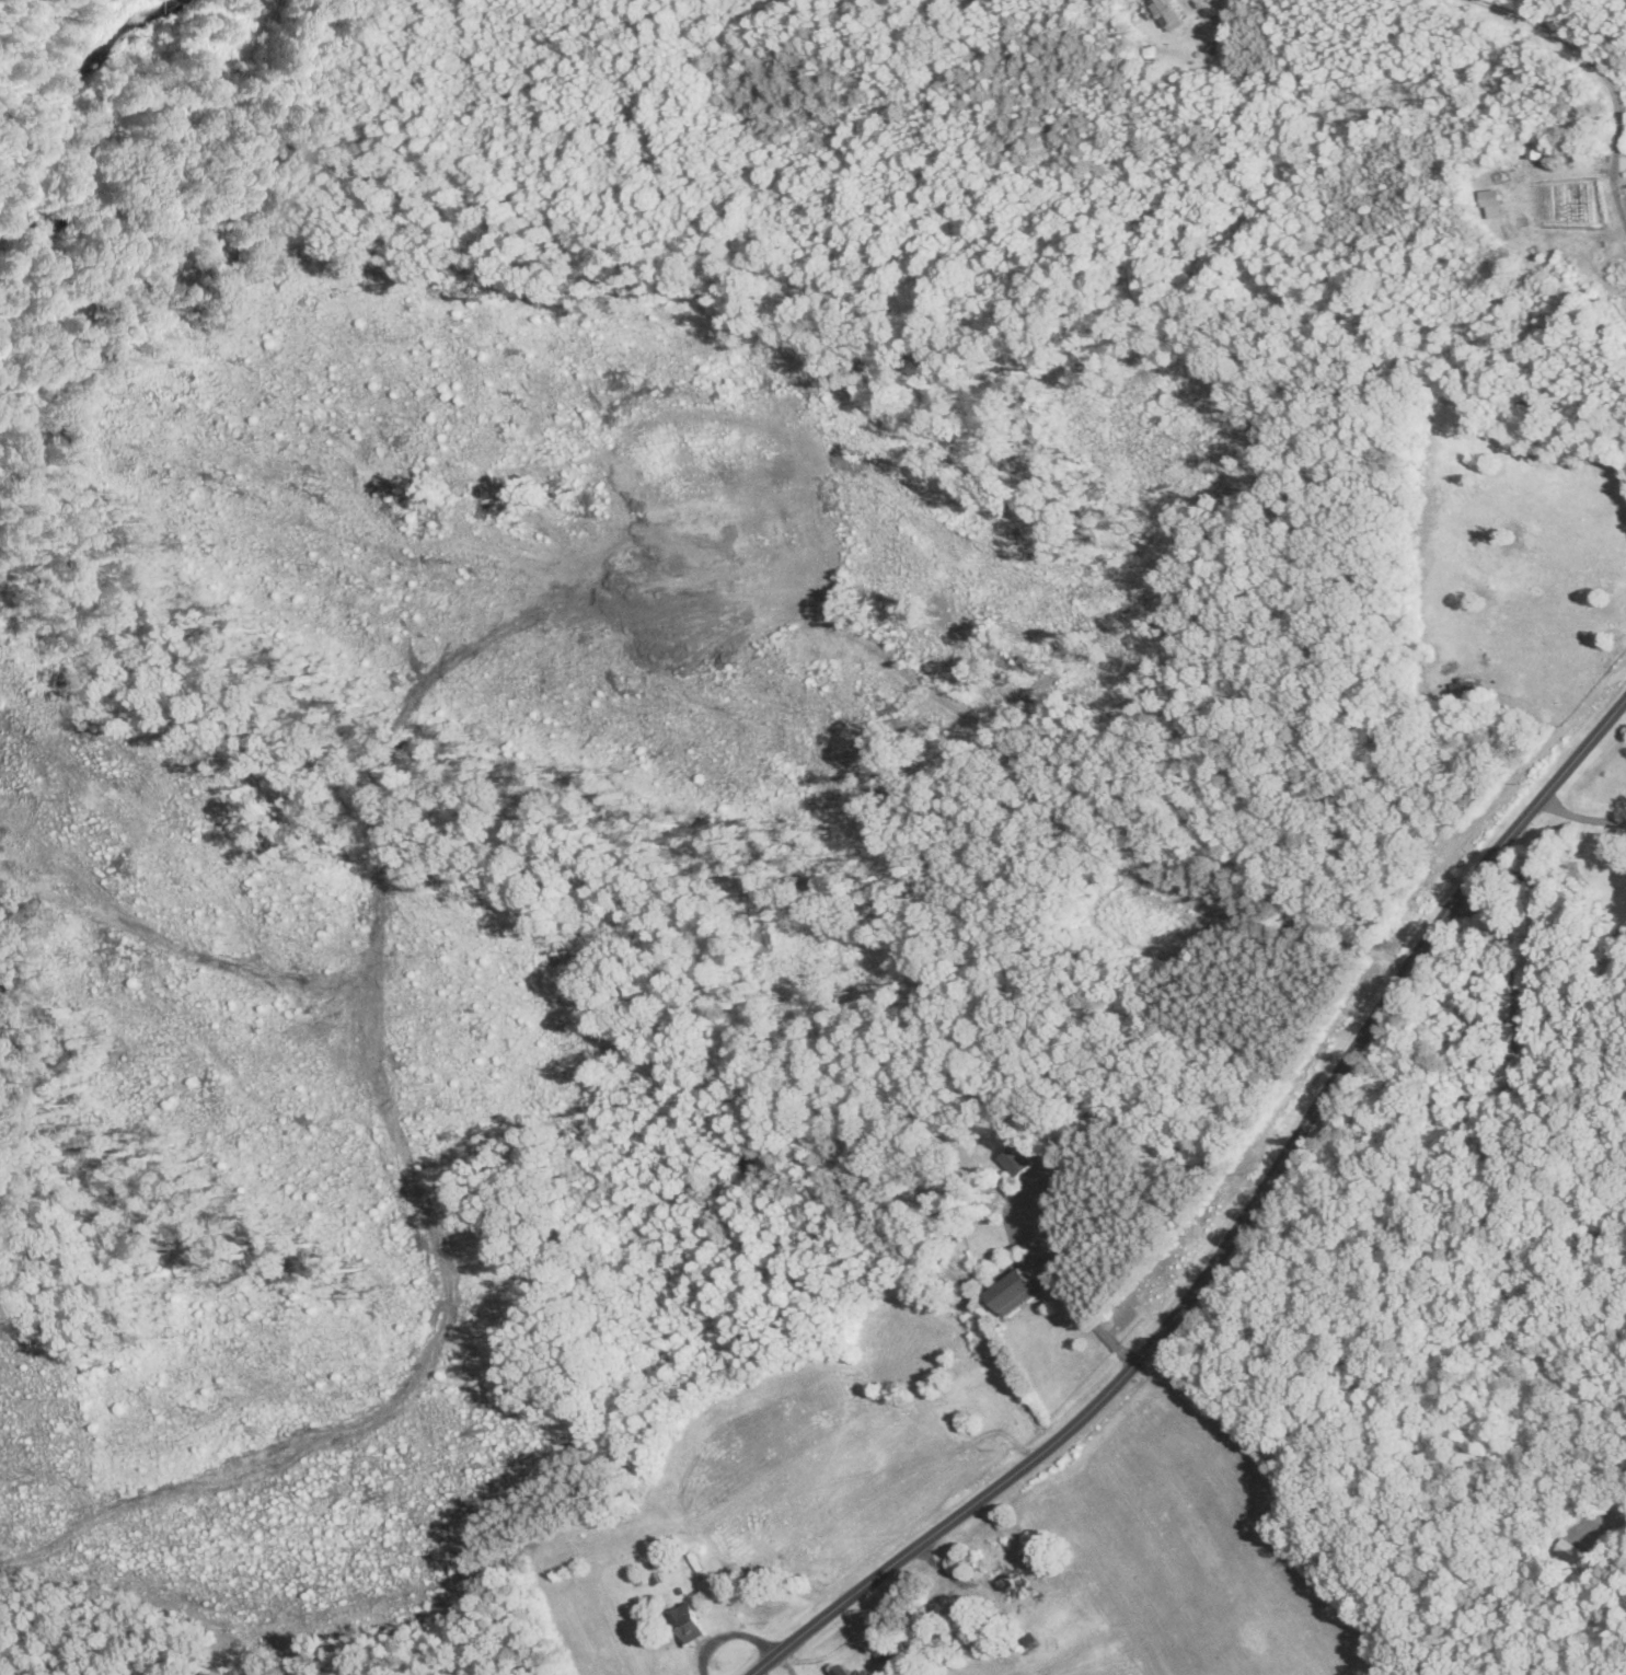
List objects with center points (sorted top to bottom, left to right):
building: (1208, 27)
road: (1603, 72)
road: (1621, 169)
road: (1581, 815)
building: (1015, 1159)
road: (1514, 1216)
road: (1235, 1231)
road: (1064, 1287)
building: (1014, 1290)
building: (1008, 1580)
building: (685, 1624)
building: (839, 1672)

